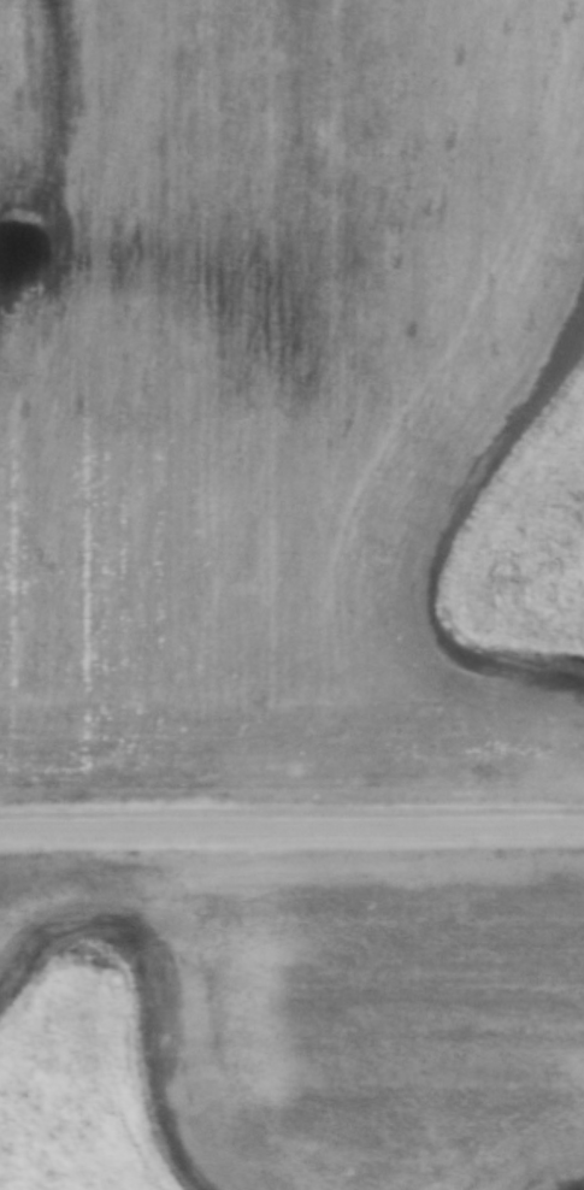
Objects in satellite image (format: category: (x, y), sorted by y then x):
road: (291, 831)

